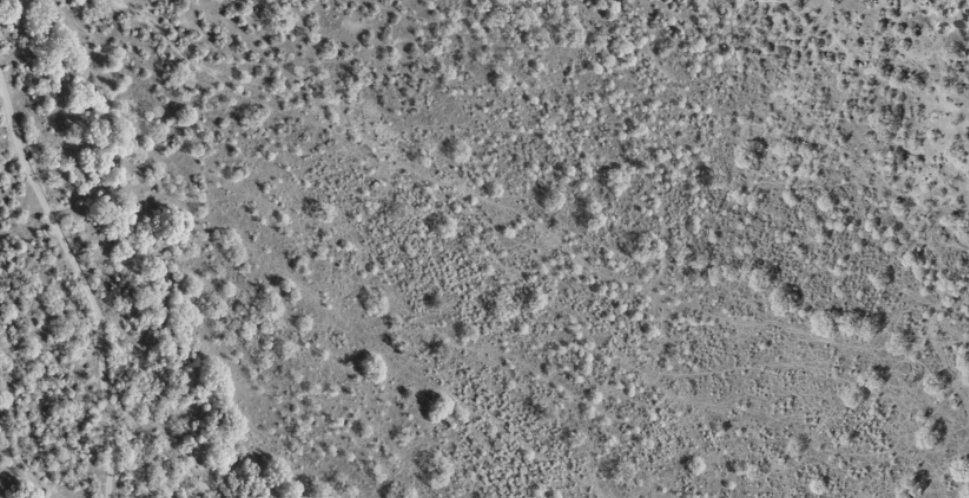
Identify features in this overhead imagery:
road: (98, 287)

